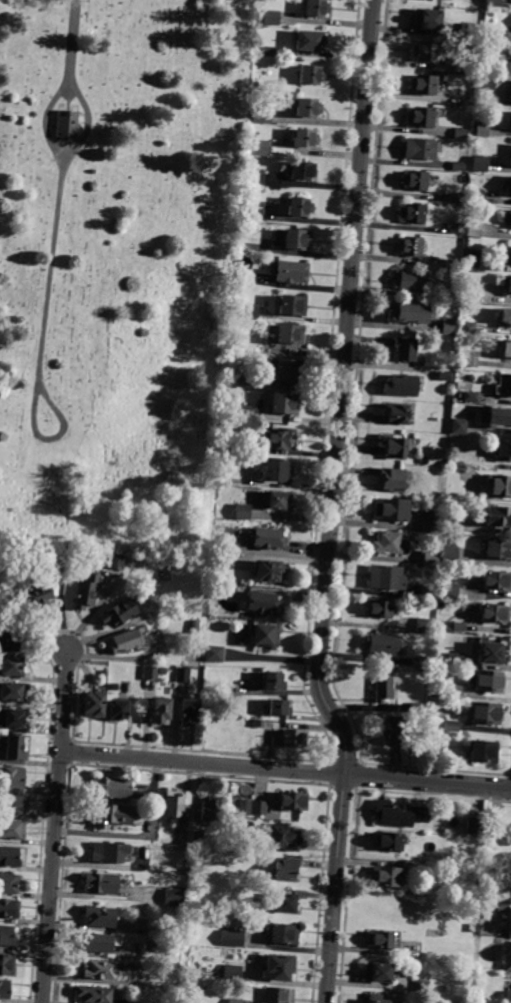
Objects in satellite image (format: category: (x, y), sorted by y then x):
building: (494, 3)
building: (315, 8)
building: (273, 17)
building: (428, 18)
building: (468, 31)
building: (309, 41)
road: (72, 42)
building: (270, 51)
building: (426, 51)
building: (505, 67)
building: (467, 69)
building: (311, 76)
building: (487, 82)
building: (423, 84)
building: (307, 106)
building: (255, 114)
building: (419, 116)
building: (266, 117)
road: (46, 122)
building: (67, 122)
road: (87, 125)
building: (481, 130)
building: (460, 134)
building: (305, 138)
building: (261, 147)
building: (420, 148)
building: (510, 160)
building: (479, 163)
building: (459, 166)
building: (302, 171)
building: (261, 175)
building: (273, 180)
building: (416, 181)
building: (508, 189)
building: (476, 196)
building: (456, 199)
building: (298, 206)
building: (412, 213)
building: (254, 215)
building: (474, 229)
building: (454, 230)
building: (296, 240)
building: (254, 244)
building: (409, 246)
building: (472, 260)
building: (510, 261)
building: (454, 264)
park: (118, 268)
building: (291, 271)
building: (410, 280)
building: (507, 284)
building: (472, 294)
building: (451, 296)
building: (292, 305)
building: (252, 312)
building: (409, 312)
building: (505, 315)
building: (449, 327)
building: (467, 328)
building: (290, 333)
road: (41, 339)
building: (506, 348)
building: (405, 349)
building: (465, 362)
building: (286, 370)
building: (444, 375)
building: (236, 380)
building: (401, 385)
building: (504, 385)
building: (470, 396)
building: (284, 403)
building: (397, 412)
building: (248, 413)
building: (499, 416)
building: (458, 426)
building: (276, 439)
building: (395, 446)
building: (247, 448)
building: (502, 451)
building: (225, 457)
building: (278, 469)
building: (393, 480)
building: (499, 485)
building: (276, 500)
road: (332, 504)
building: (391, 510)
building: (243, 512)
building: (498, 516)
building: (431, 522)
building: (268, 538)
building: (387, 543)
building: (232, 547)
building: (498, 549)
building: (449, 555)
building: (431, 559)
building: (224, 560)
building: (116, 561)
building: (53, 568)
building: (268, 570)
building: (167, 572)
building: (221, 576)
building: (386, 577)
building: (497, 580)
building: (228, 590)
building: (449, 590)
building: (86, 592)
building: (427, 593)
building: (39, 594)
building: (263, 603)
building: (379, 609)
building: (118, 613)
building: (495, 613)
building: (424, 625)
building: (195, 626)
building: (459, 627)
building: (264, 635)
building: (9, 641)
building: (125, 641)
building: (382, 645)
building: (491, 653)
building: (214, 654)
building: (456, 659)
building: (420, 662)
building: (10, 666)
building: (150, 673)
building: (104, 674)
building: (183, 674)
building: (272, 681)
building: (489, 681)
building: (386, 687)
building: (12, 692)
building: (455, 692)
building: (211, 696)
building: (92, 702)
building: (417, 707)
building: (279, 708)
building: (117, 710)
building: (161, 710)
building: (187, 712)
building: (485, 713)
building: (11, 718)
building: (451, 726)
building: (397, 731)
building: (294, 738)
building: (435, 741)
building: (14, 749)
building: (483, 752)
road: (285, 770)
building: (12, 777)
building: (111, 788)
building: (294, 801)
building: (11, 804)
building: (177, 805)
building: (247, 806)
building: (260, 808)
building: (209, 809)
building: (394, 814)
building: (116, 816)
road: (54, 826)
building: (495, 829)
building: (11, 830)
building: (471, 831)
building: (480, 832)
building: (198, 838)
building: (285, 838)
building: (388, 842)
building: (108, 853)
building: (8, 857)
building: (287, 868)
building: (386, 877)
building: (102, 883)
building: (8, 885)
building: (509, 897)
building: (175, 898)
building: (284, 902)
building: (9, 908)
building: (99, 916)
building: (472, 928)
building: (510, 930)
building: (282, 934)
building: (6, 937)
building: (231, 939)
building: (380, 940)
building: (101, 943)
building: (508, 963)
building: (6, 965)
building: (276, 969)
building: (99, 970)
building: (231, 972)
building: (377, 972)
building: (422, 988)
building: (3, 990)
building: (93, 995)
building: (277, 995)
building: (507, 997)
building: (375, 999)
building: (235, 1001)

